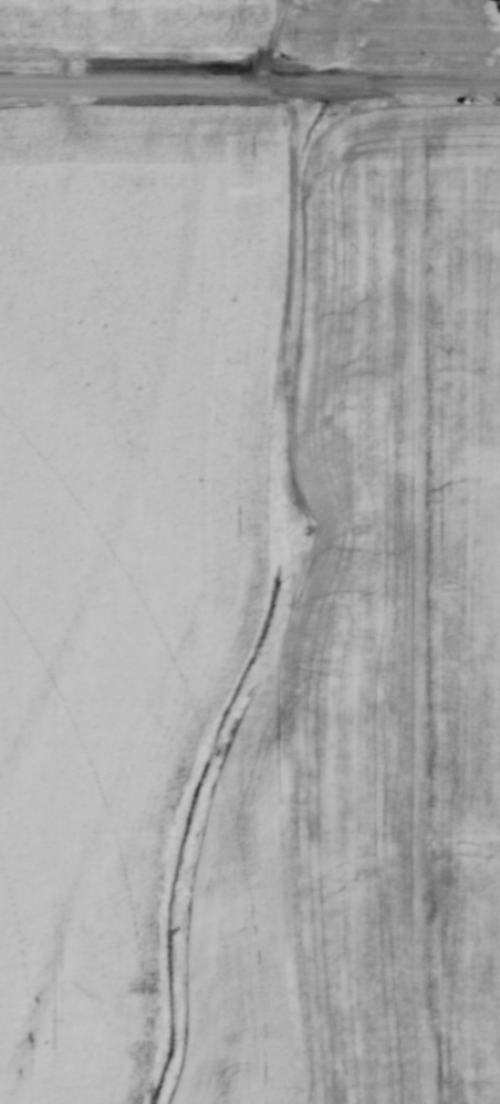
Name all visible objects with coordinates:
road: (249, 87)

